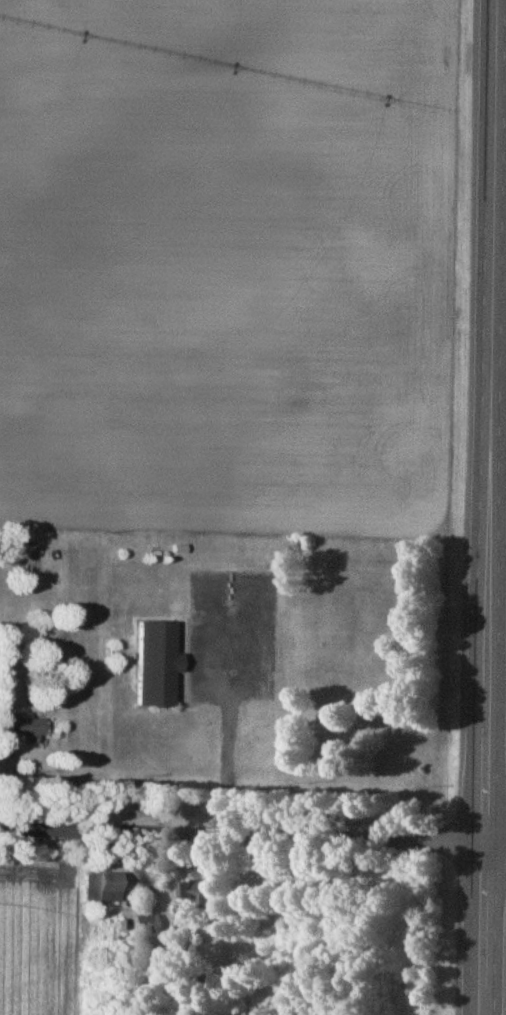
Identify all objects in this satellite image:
road: (486, 507)
road: (226, 732)
road: (253, 837)

